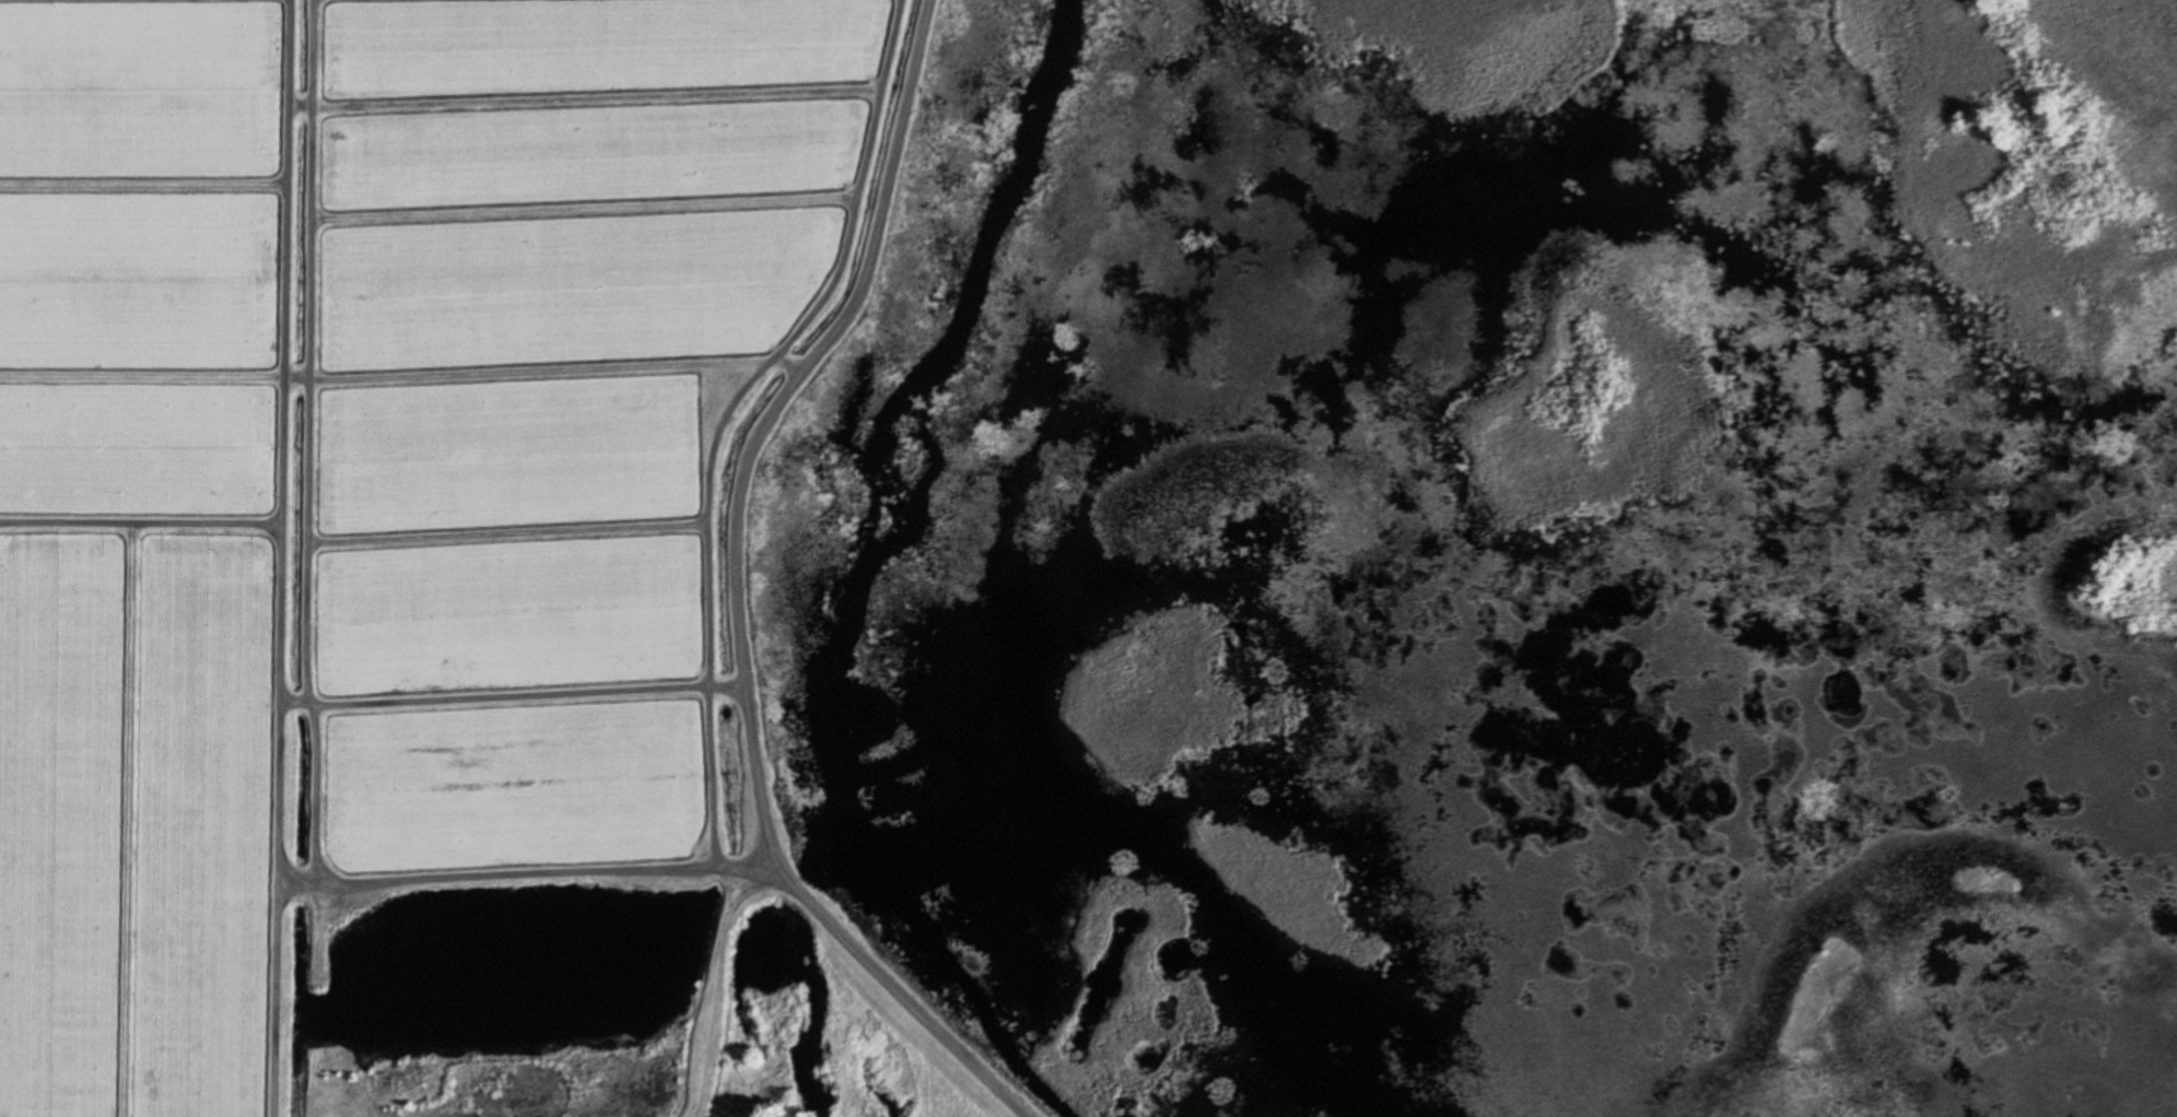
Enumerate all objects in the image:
crop: (390, 471)
river: (927, 474)

